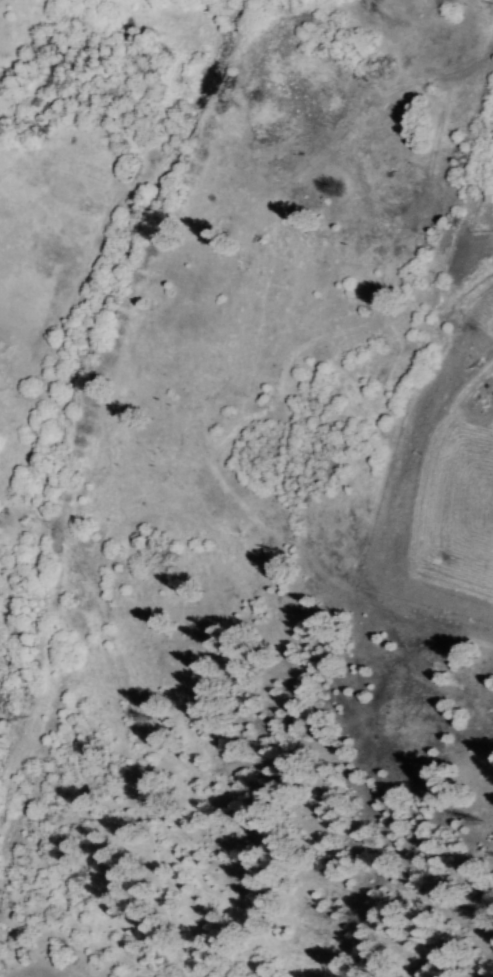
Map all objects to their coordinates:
building: (486, 193)

